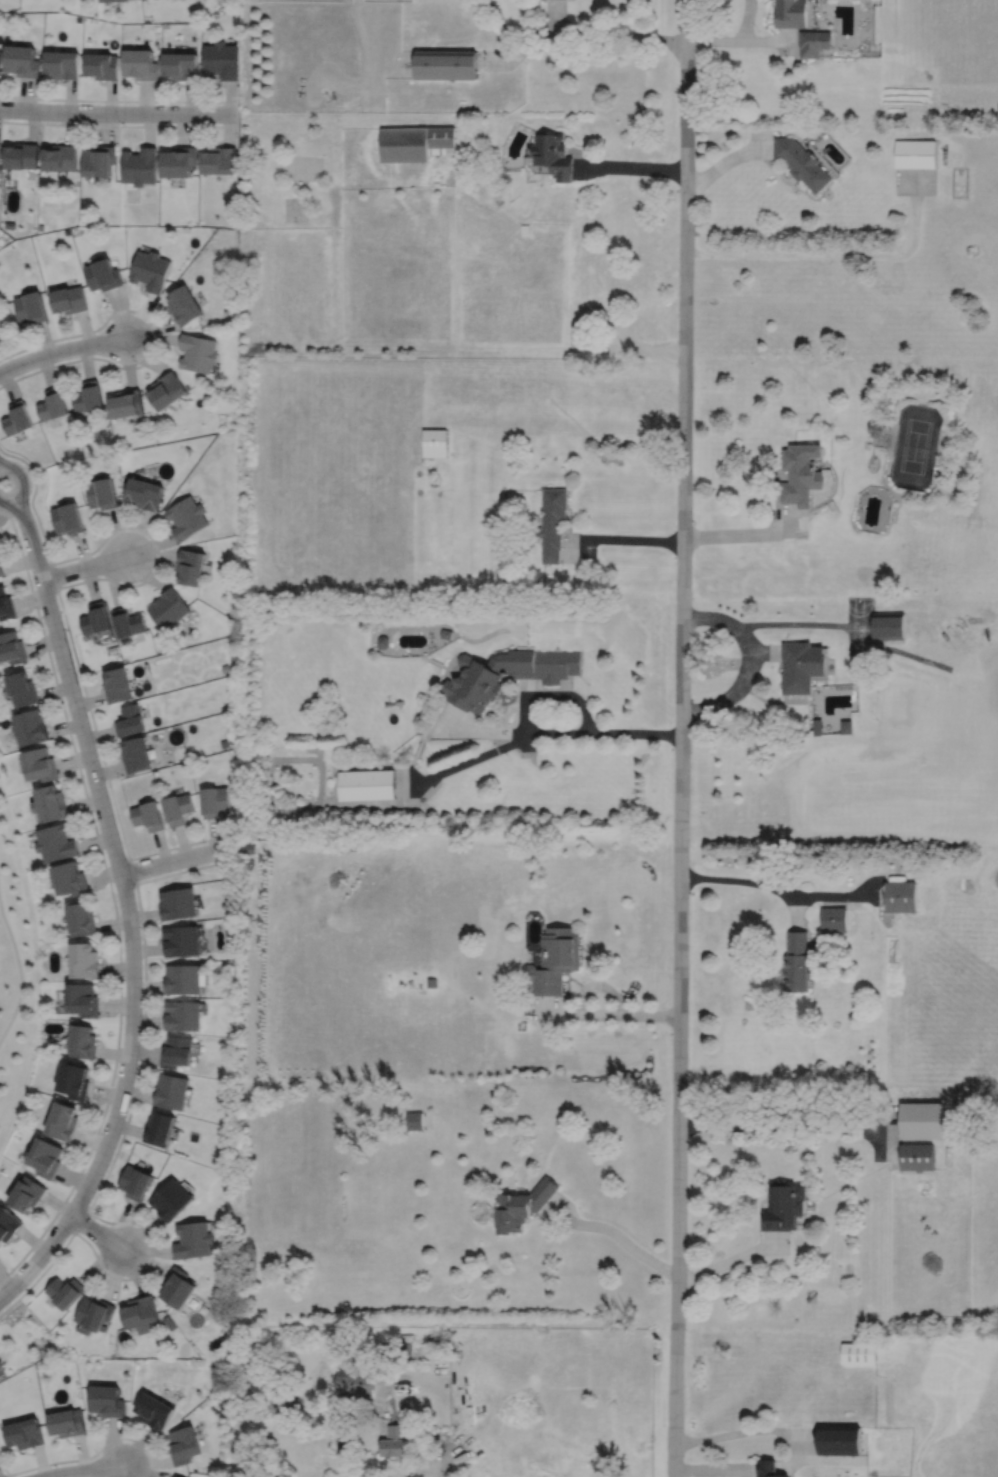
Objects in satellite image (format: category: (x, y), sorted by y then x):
building: (106, 0)
building: (791, 13)
road: (557, 16)
road: (747, 21)
road: (621, 36)
road: (714, 42)
road: (769, 42)
building: (814, 42)
road: (522, 49)
building: (0, 57)
building: (221, 60)
building: (23, 61)
building: (62, 63)
building: (140, 64)
building: (446, 64)
building: (102, 65)
building: (181, 65)
street lamp: (0, 99)
road: (118, 100)
street lamp: (200, 104)
road: (118, 113)
street lamp: (121, 122)
road: (118, 125)
road: (759, 140)
building: (416, 143)
road: (767, 150)
building: (0, 152)
building: (915, 154)
building: (553, 155)
building: (21, 156)
building: (60, 158)
building: (99, 161)
building: (220, 161)
building: (179, 162)
building: (802, 163)
building: (140, 166)
road: (719, 167)
road: (631, 169)
building: (524, 229)
road: (826, 254)
building: (151, 271)
building: (104, 276)
building: (69, 301)
building: (185, 306)
building: (31, 308)
road: (156, 336)
street lamp: (32, 349)
road: (62, 350)
building: (198, 353)
street lamp: (135, 364)
building: (167, 392)
building: (89, 398)
building: (126, 405)
building: (53, 406)
building: (18, 420)
building: (878, 430)
building: (436, 444)
park: (915, 445)
street lamp: (30, 475)
building: (802, 475)
road: (25, 479)
building: (103, 493)
building: (145, 494)
road: (11, 505)
building: (68, 516)
building: (187, 516)
building: (552, 523)
road: (753, 535)
road: (630, 540)
street lamp: (47, 557)
building: (192, 564)
building: (2, 567)
road: (84, 567)
road: (53, 575)
street lamp: (136, 581)
road: (58, 586)
building: (6, 603)
building: (169, 607)
building: (96, 617)
road: (711, 618)
building: (129, 621)
building: (888, 624)
road: (847, 626)
building: (446, 634)
building: (383, 640)
road: (747, 640)
building: (12, 647)
building: (113, 649)
road: (766, 655)
building: (803, 666)
building: (226, 667)
street lamp: (77, 674)
building: (118, 683)
building: (473, 683)
building: (22, 688)
road: (524, 691)
road: (569, 694)
road: (729, 697)
road: (524, 718)
building: (130, 720)
building: (30, 726)
building: (847, 726)
building: (819, 727)
road: (468, 734)
road: (557, 734)
road: (637, 734)
road: (682, 738)
building: (224, 743)
building: (137, 754)
road: (482, 757)
building: (40, 764)
street lamp: (106, 782)
road: (419, 782)
building: (367, 784)
building: (216, 801)
building: (52, 803)
road: (389, 804)
building: (179, 808)
building: (149, 815)
building: (57, 843)
street lamp: (205, 843)
building: (247, 847)
road: (172, 860)
road: (133, 870)
building: (71, 879)
road: (740, 881)
street lamp: (134, 887)
road: (838, 896)
building: (900, 896)
road: (113, 902)
building: (179, 903)
road: (798, 911)
road: (129, 917)
building: (82, 919)
building: (834, 920)
building: (183, 941)
building: (84, 961)
building: (556, 962)
building: (224, 964)
building: (799, 964)
road: (20, 972)
park: (15, 977)
building: (184, 979)
building: (433, 983)
building: (83, 1000)
road: (602, 1015)
building: (184, 1016)
street lamp: (122, 1022)
building: (83, 1043)
building: (178, 1053)
building: (74, 1081)
building: (173, 1092)
building: (63, 1118)
building: (922, 1118)
building: (414, 1119)
road: (782, 1127)
building: (159, 1128)
road: (886, 1131)
street lamp: (119, 1136)
building: (45, 1155)
building: (917, 1155)
road: (110, 1165)
building: (136, 1180)
building: (26, 1192)
building: (172, 1197)
building: (522, 1204)
building: (783, 1205)
road: (80, 1221)
building: (8, 1222)
road: (96, 1230)
street lamp: (69, 1235)
road: (618, 1235)
building: (194, 1238)
road: (731, 1259)
street lamp: (105, 1268)
building: (178, 1286)
building: (64, 1291)
building: (94, 1312)
building: (141, 1313)
building: (387, 1347)
building: (405, 1351)
building: (858, 1352)
building: (2, 1369)
building: (355, 1382)
building: (107, 1400)
building: (154, 1410)
building: (67, 1422)
road: (751, 1431)
building: (24, 1433)
building: (839, 1440)
building: (394, 1441)
building: (184, 1445)
street lamp: (98, 1454)
road: (86, 1456)
road: (833, 1460)
road: (438, 1462)
road: (792, 1466)
road: (745, 1468)
building: (766, 1468)
street lamp: (3, 1469)
road: (705, 1469)
road: (83, 1470)
road: (741, 1473)
road: (8, 1475)
building: (176, 1476)

